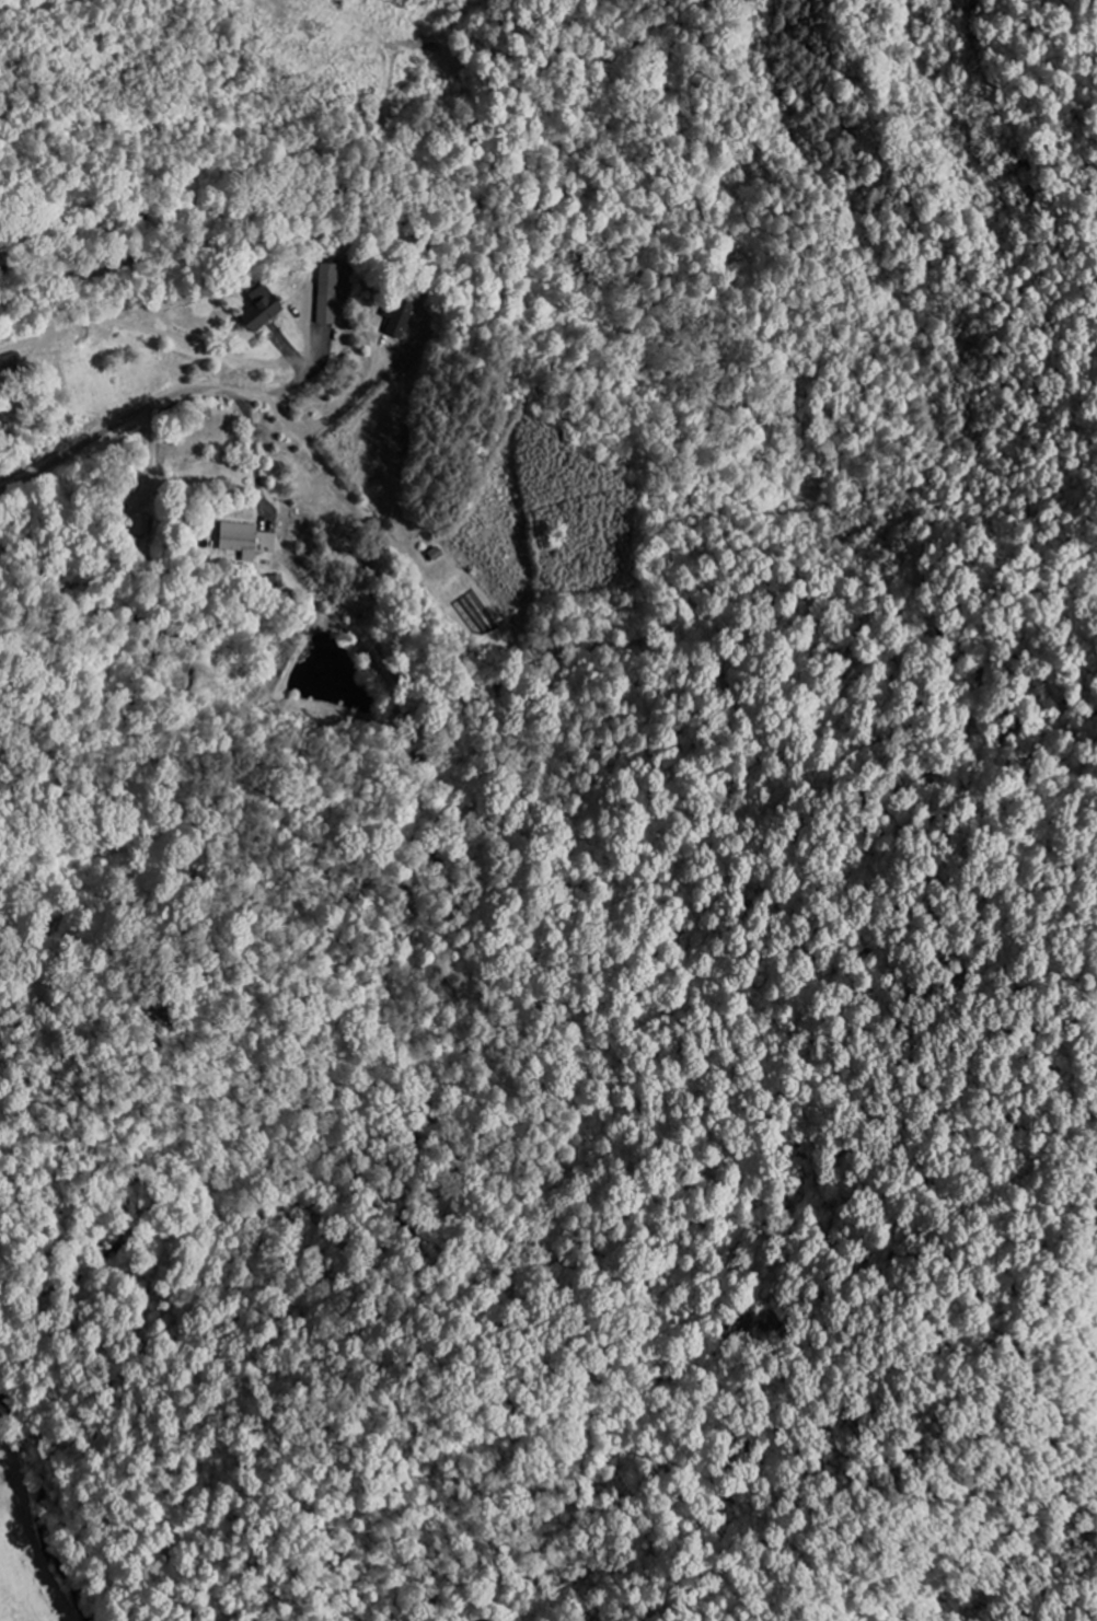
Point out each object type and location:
building: (328, 271)
building: (324, 312)
building: (257, 313)
building: (235, 540)
road: (31, 1526)

